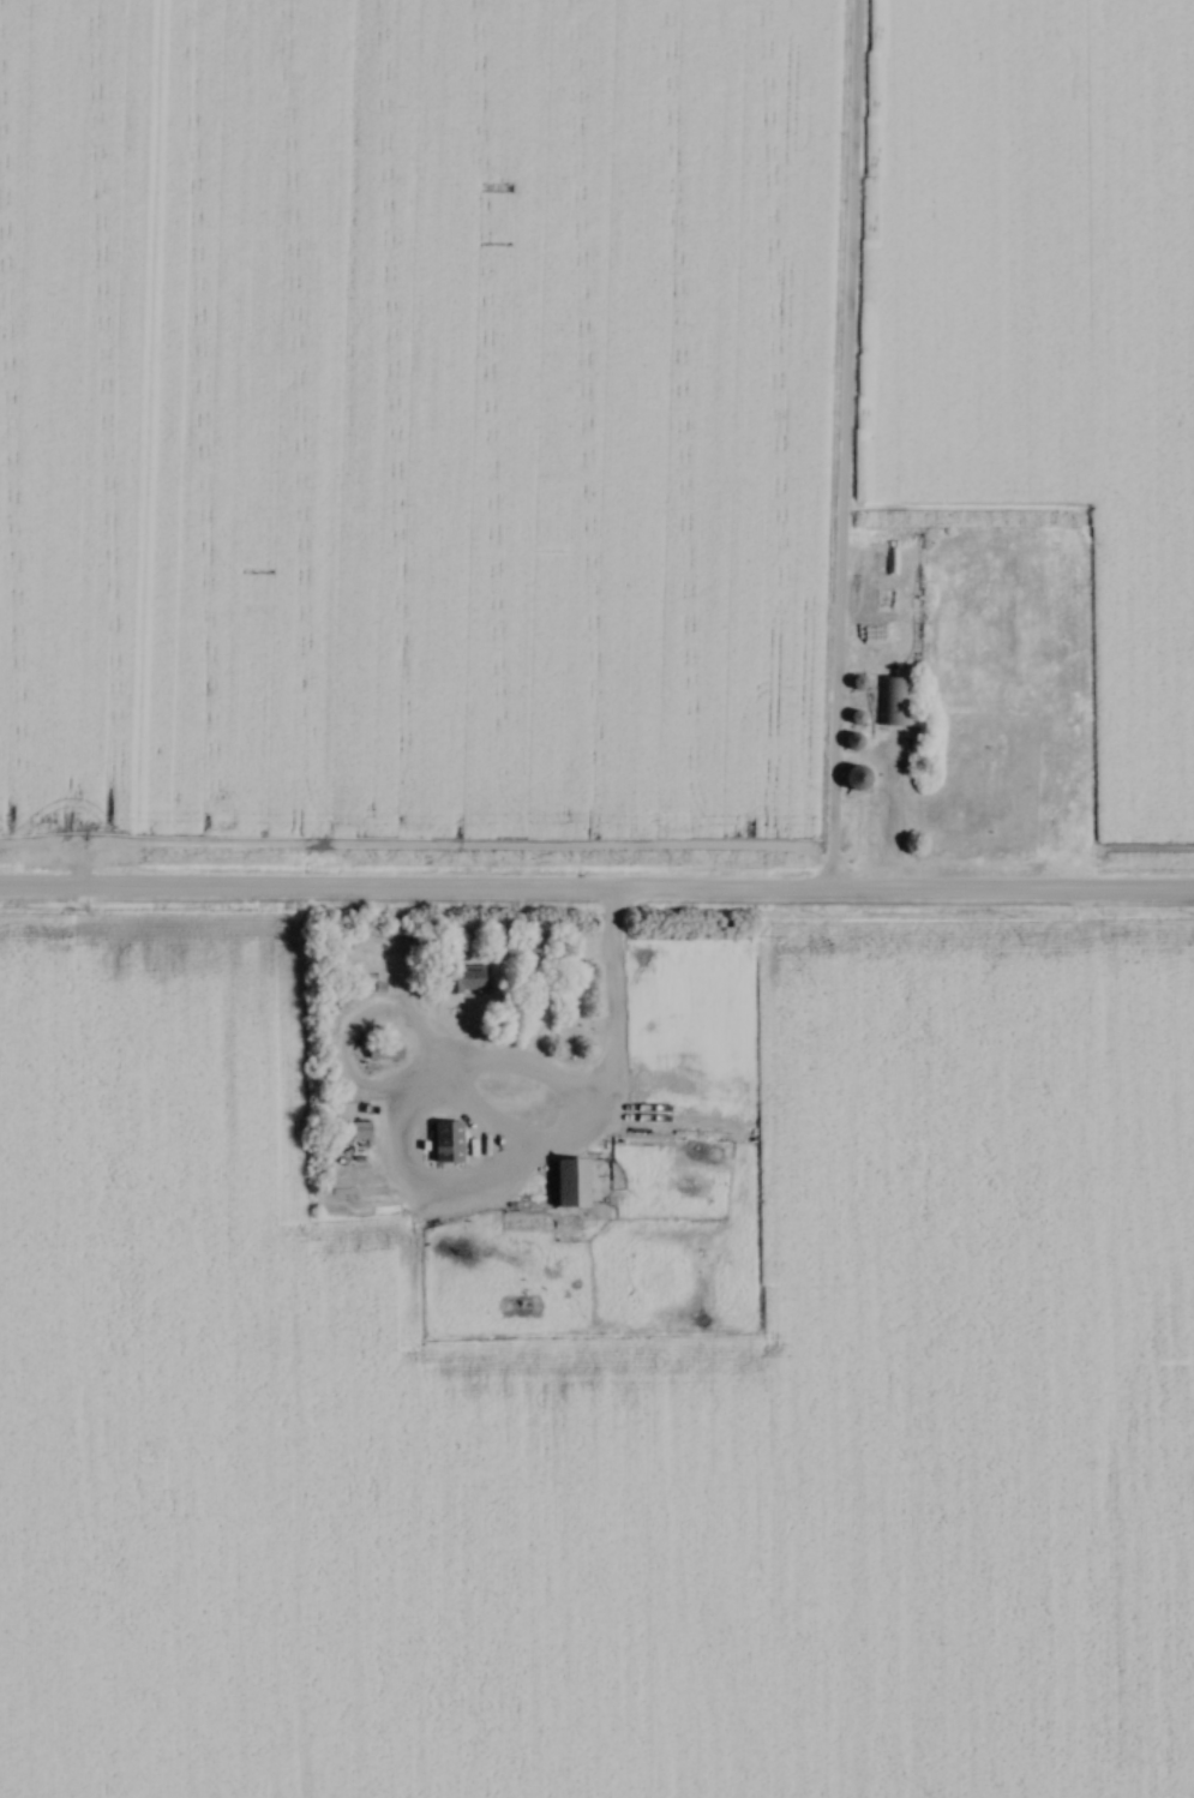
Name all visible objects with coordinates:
road: (842, 448)
building: (892, 702)
building: (848, 742)
building: (851, 778)
road: (889, 820)
road: (596, 894)
building: (460, 977)
road: (612, 1003)
building: (382, 1051)
building: (358, 1129)
building: (444, 1141)
building: (565, 1181)
road: (456, 1185)

